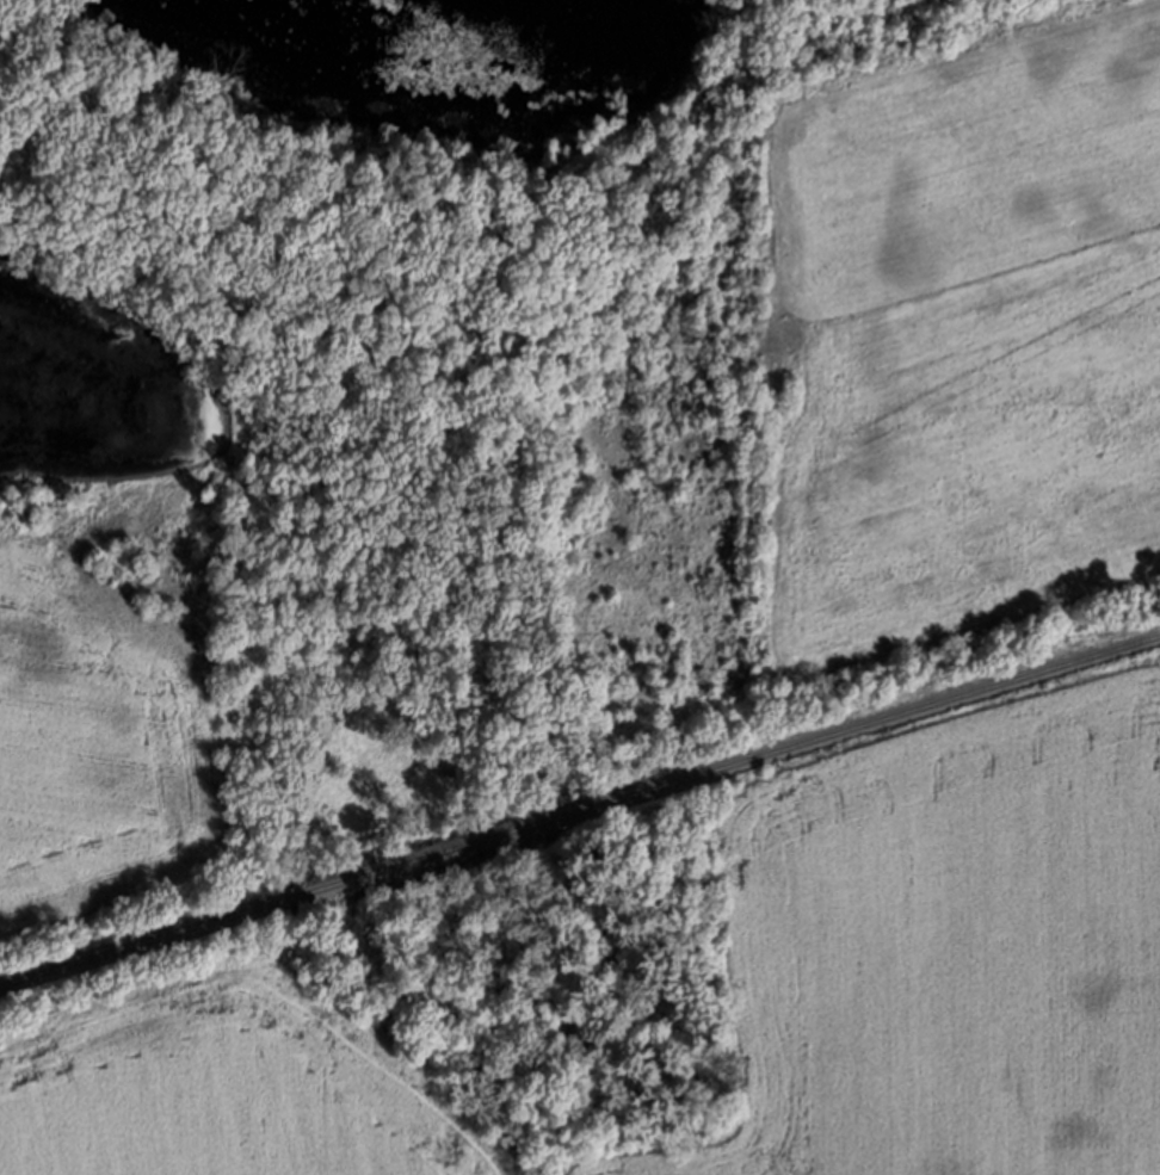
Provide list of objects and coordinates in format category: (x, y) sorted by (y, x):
railway: (580, 809)

